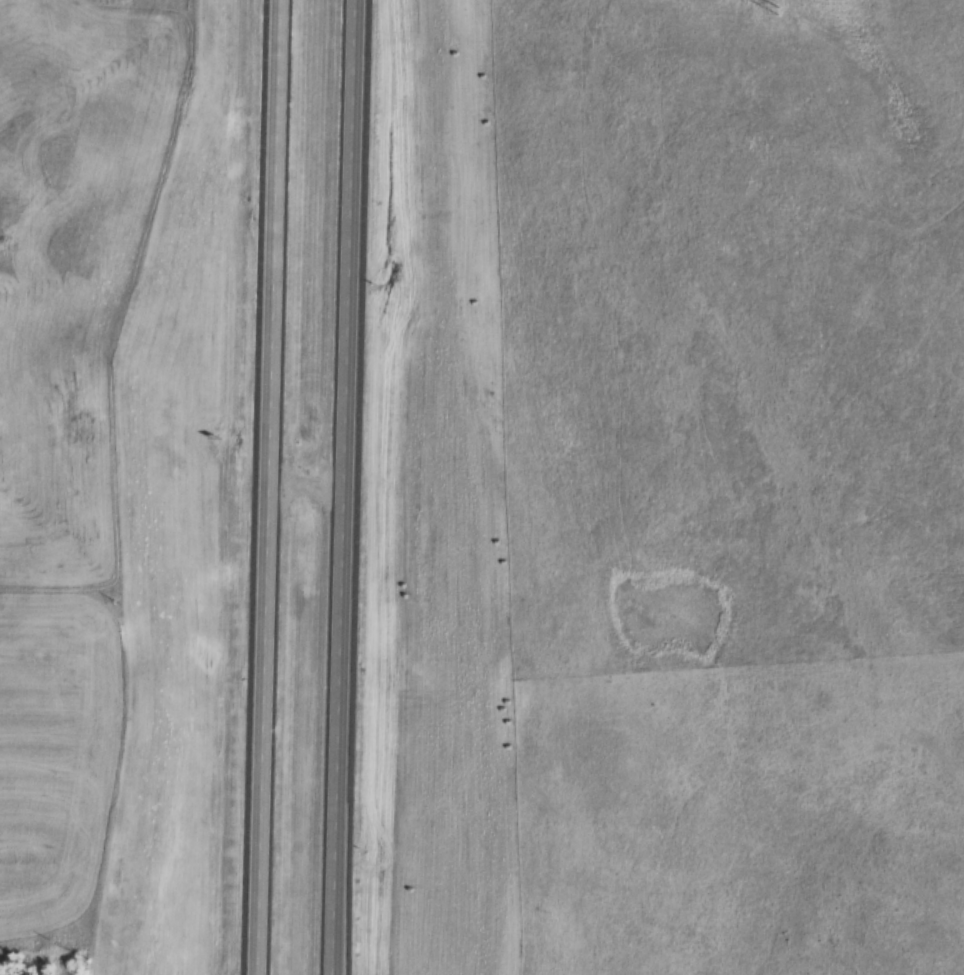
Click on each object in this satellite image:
power tower: (780, 11)
road: (310, 481)
road: (268, 487)
road: (351, 487)

